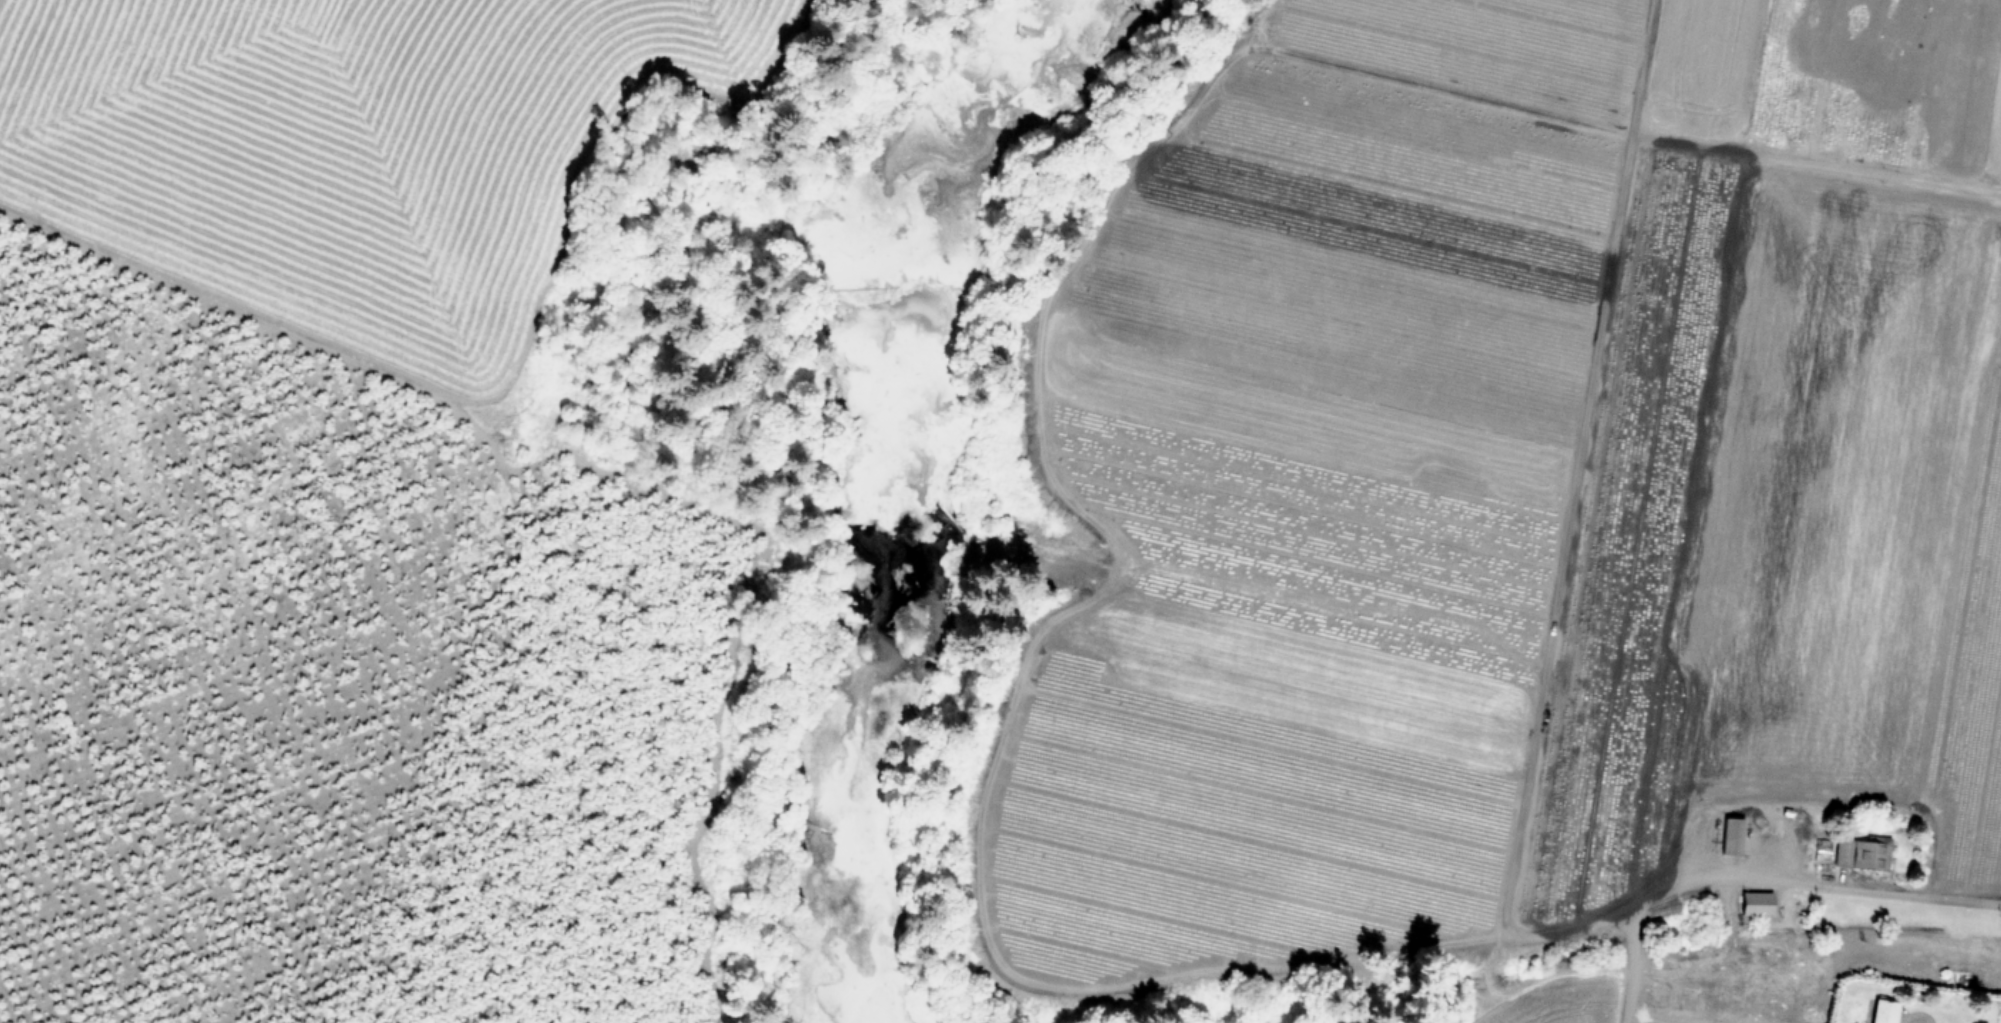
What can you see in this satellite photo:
road: (1638, 65)
crop: (349, 142)
road: (1060, 481)
crop: (1533, 520)
road: (1564, 532)
road: (1905, 600)
building: (1732, 835)
building: (1819, 849)
building: (1862, 852)
road: (1866, 889)
building: (1756, 902)
road: (1628, 964)
building: (1884, 1011)
road: (1916, 1013)

